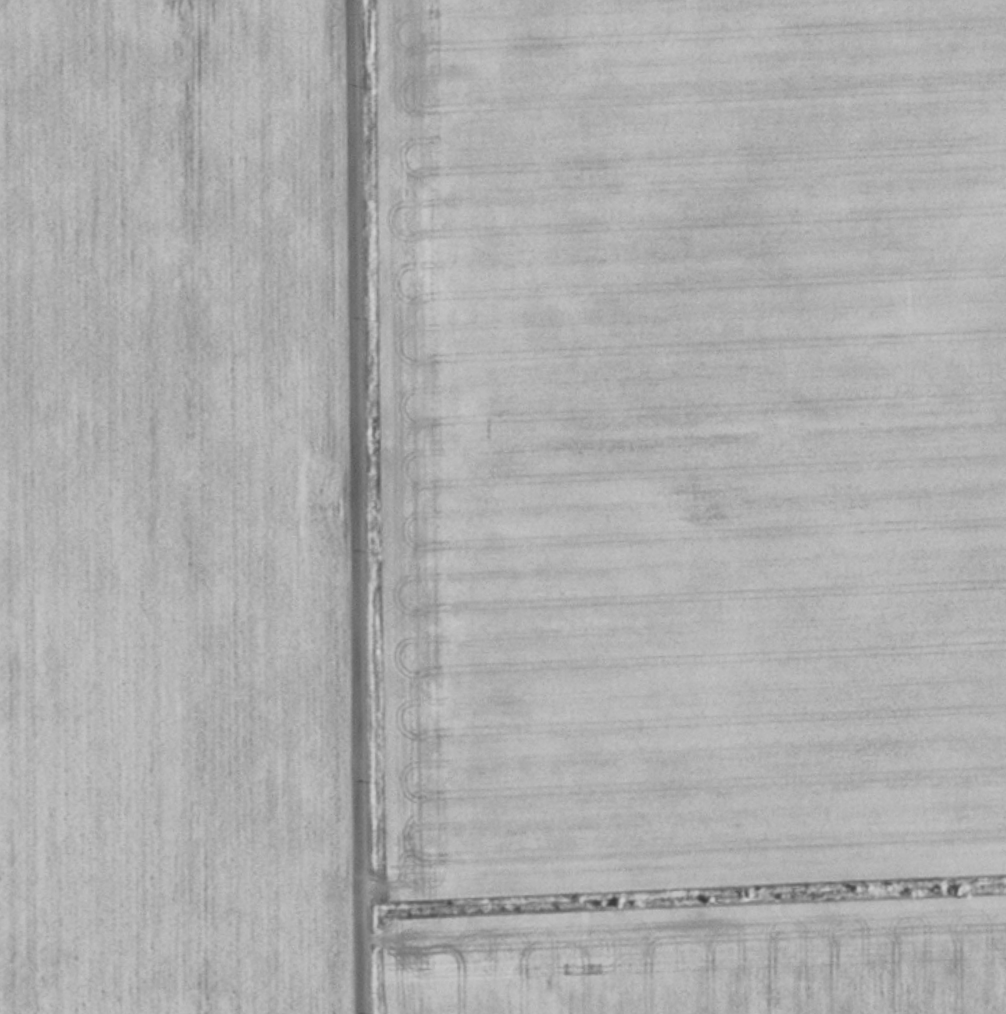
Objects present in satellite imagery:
road: (364, 507)

